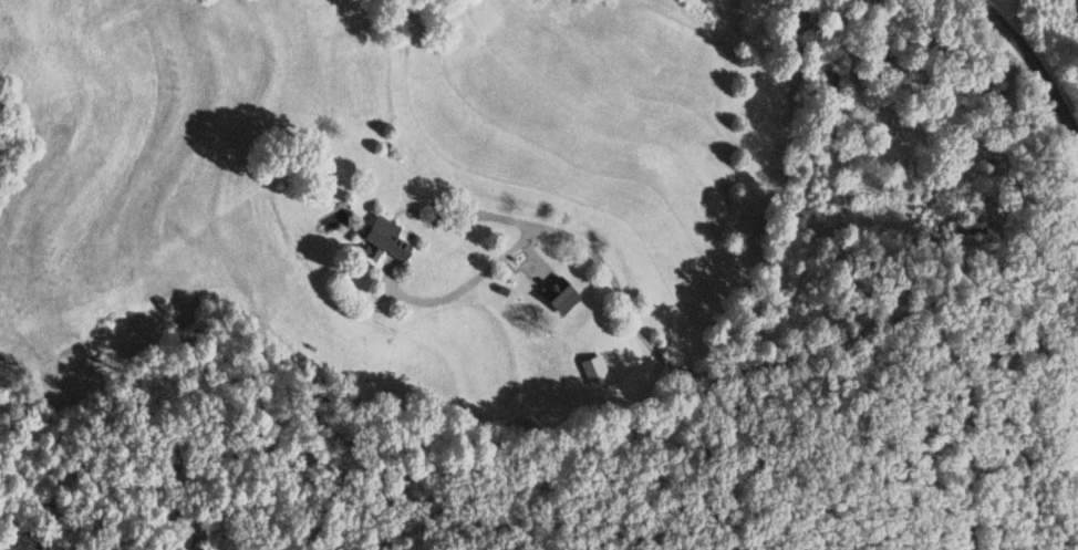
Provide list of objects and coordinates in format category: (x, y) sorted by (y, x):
road: (1036, 64)
building: (830, 83)
building: (972, 132)
road: (427, 209)
building: (381, 238)
road: (795, 353)
building: (592, 370)

